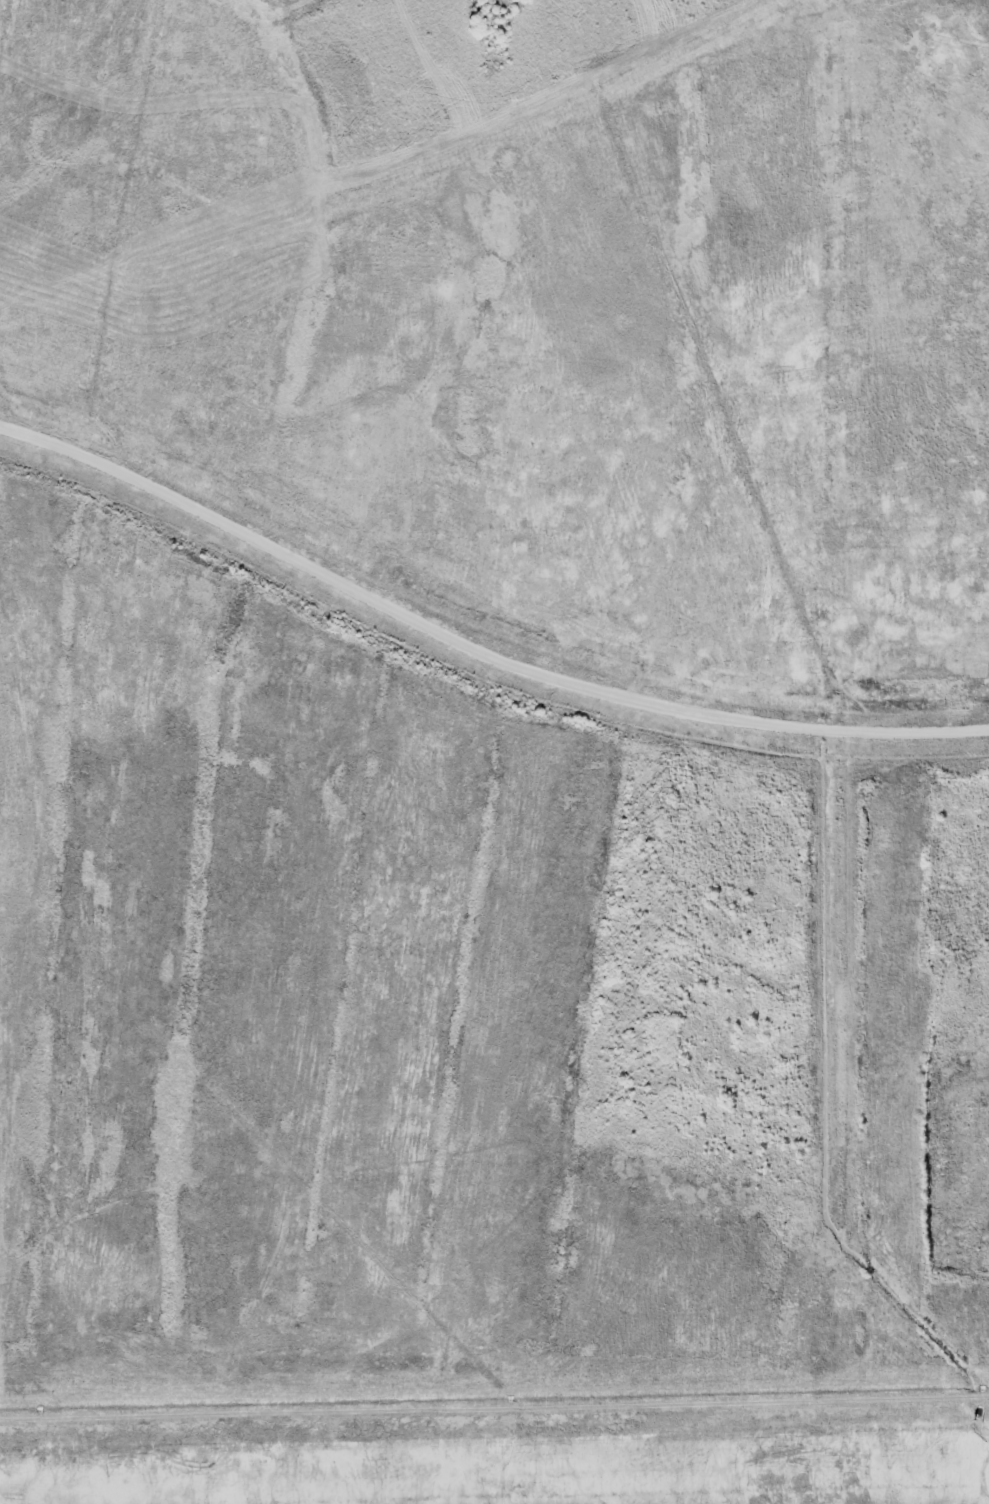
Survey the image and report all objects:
road: (474, 653)

